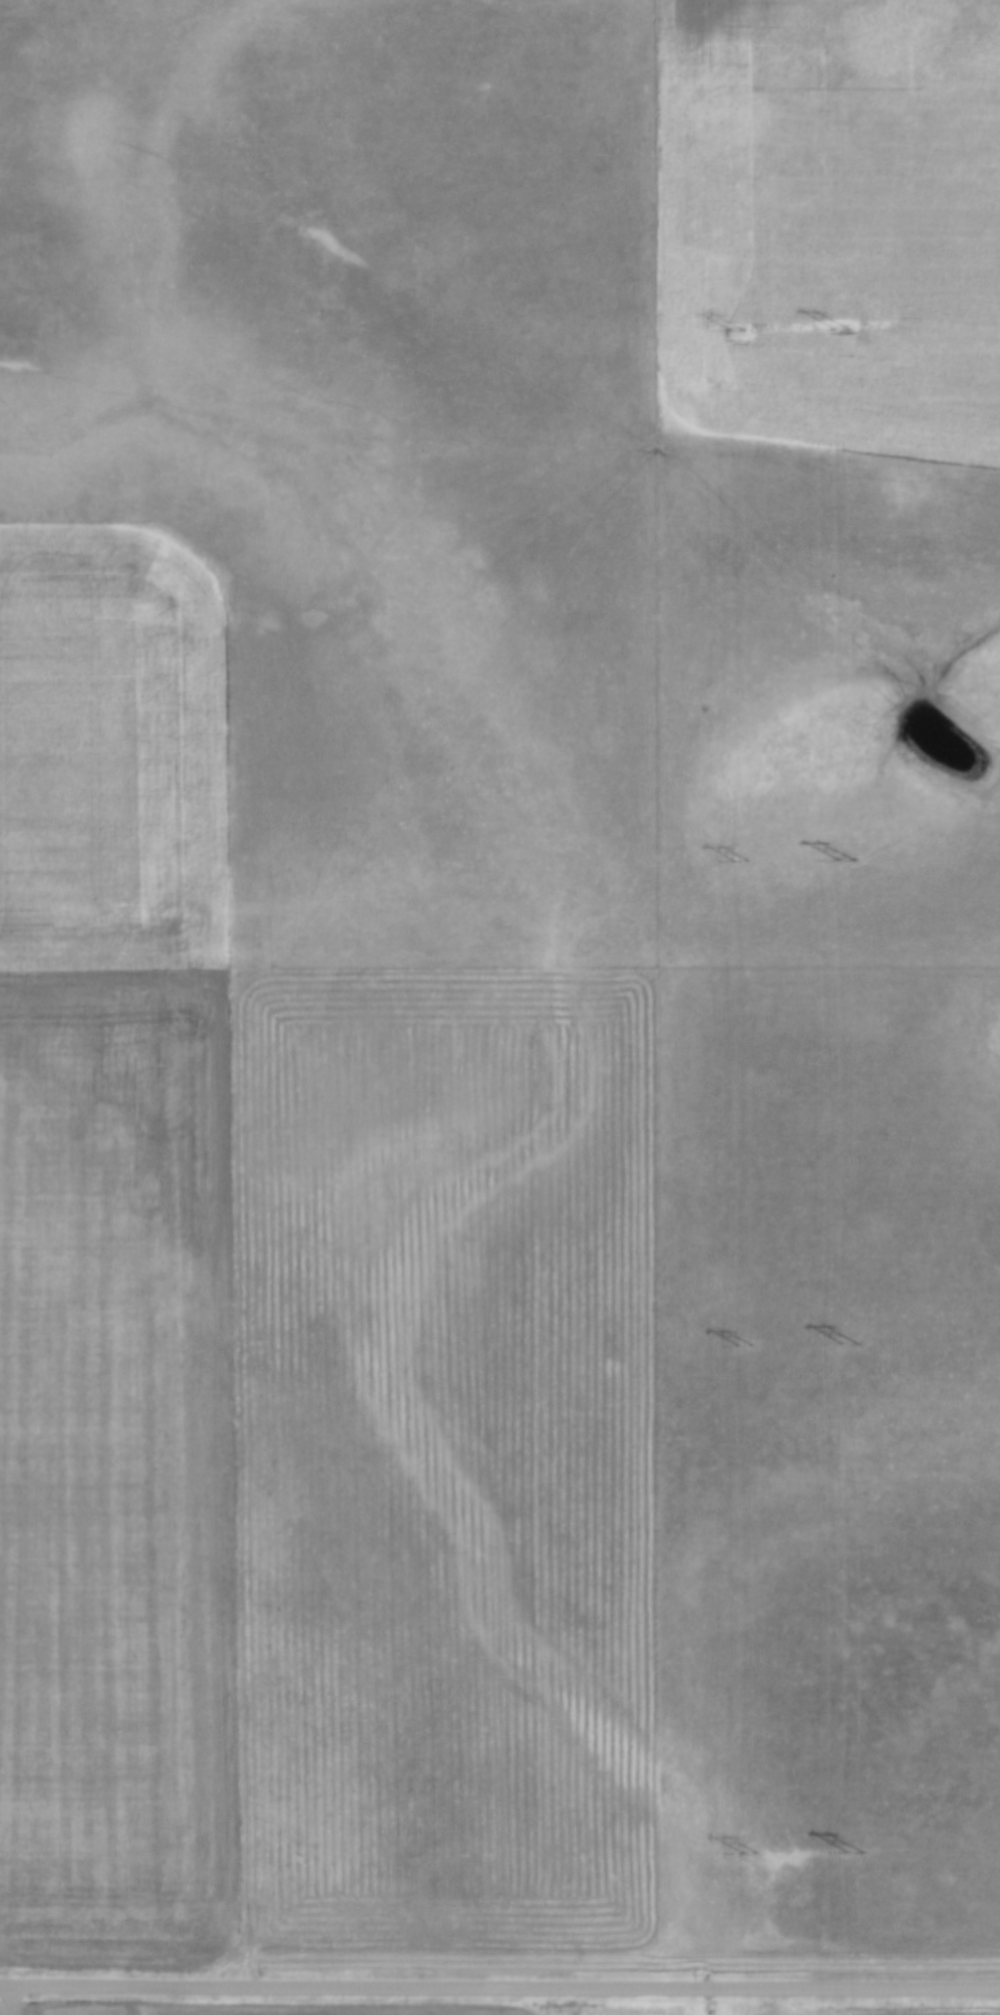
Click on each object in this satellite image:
power tower: (838, 328)
power tower: (734, 330)
power tower: (844, 860)
power tower: (739, 862)
power tower: (850, 1344)
power tower: (743, 1348)
power tower: (854, 1853)
power tower: (745, 1856)
road: (499, 1984)
road: (3, 1999)

